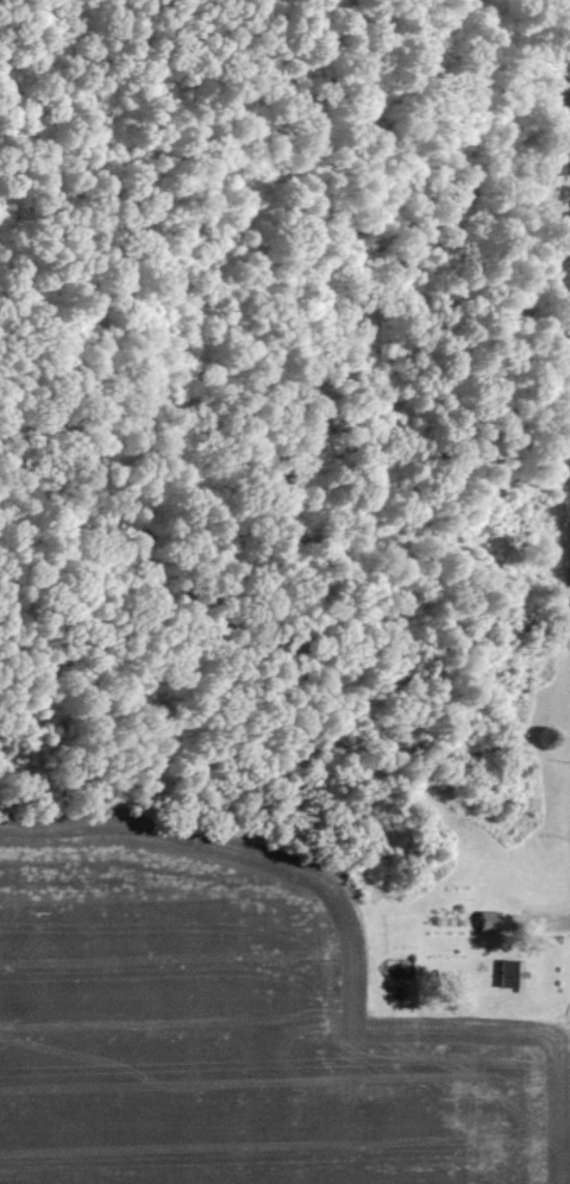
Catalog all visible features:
building: (486, 921)
building: (511, 973)

